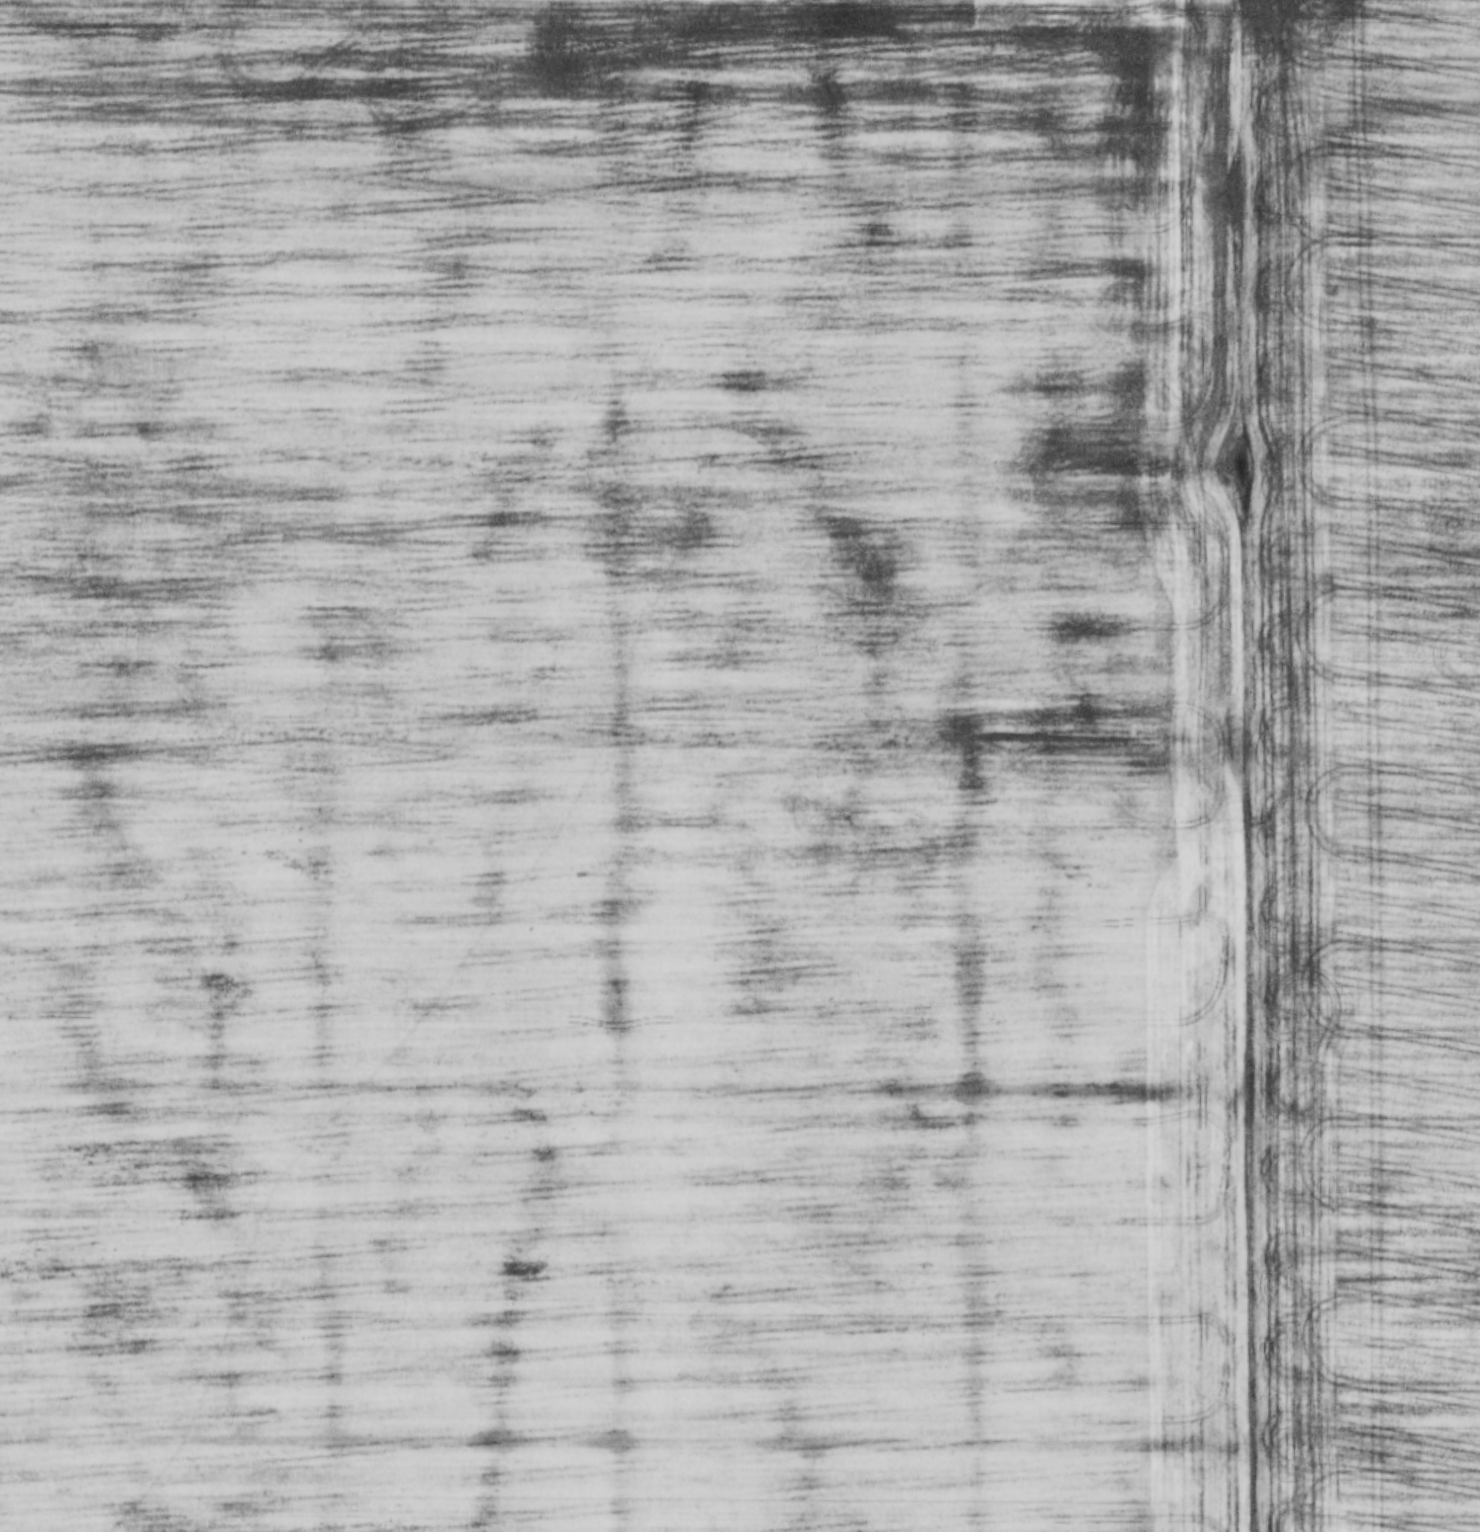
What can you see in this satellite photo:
crop: (740, 766)

